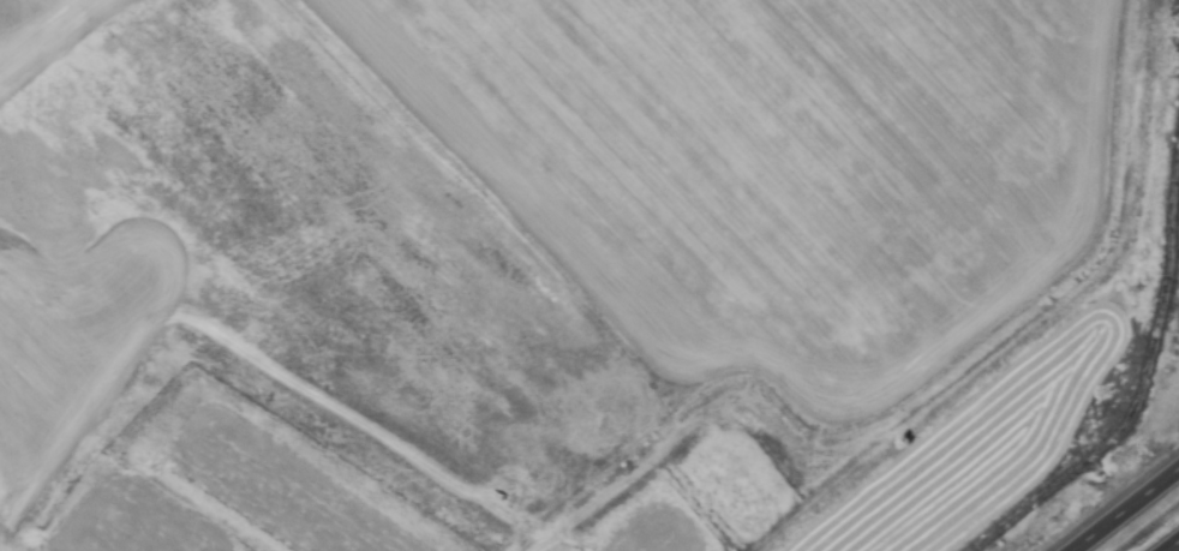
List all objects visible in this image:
road: (1126, 510)
road: (1173, 546)

